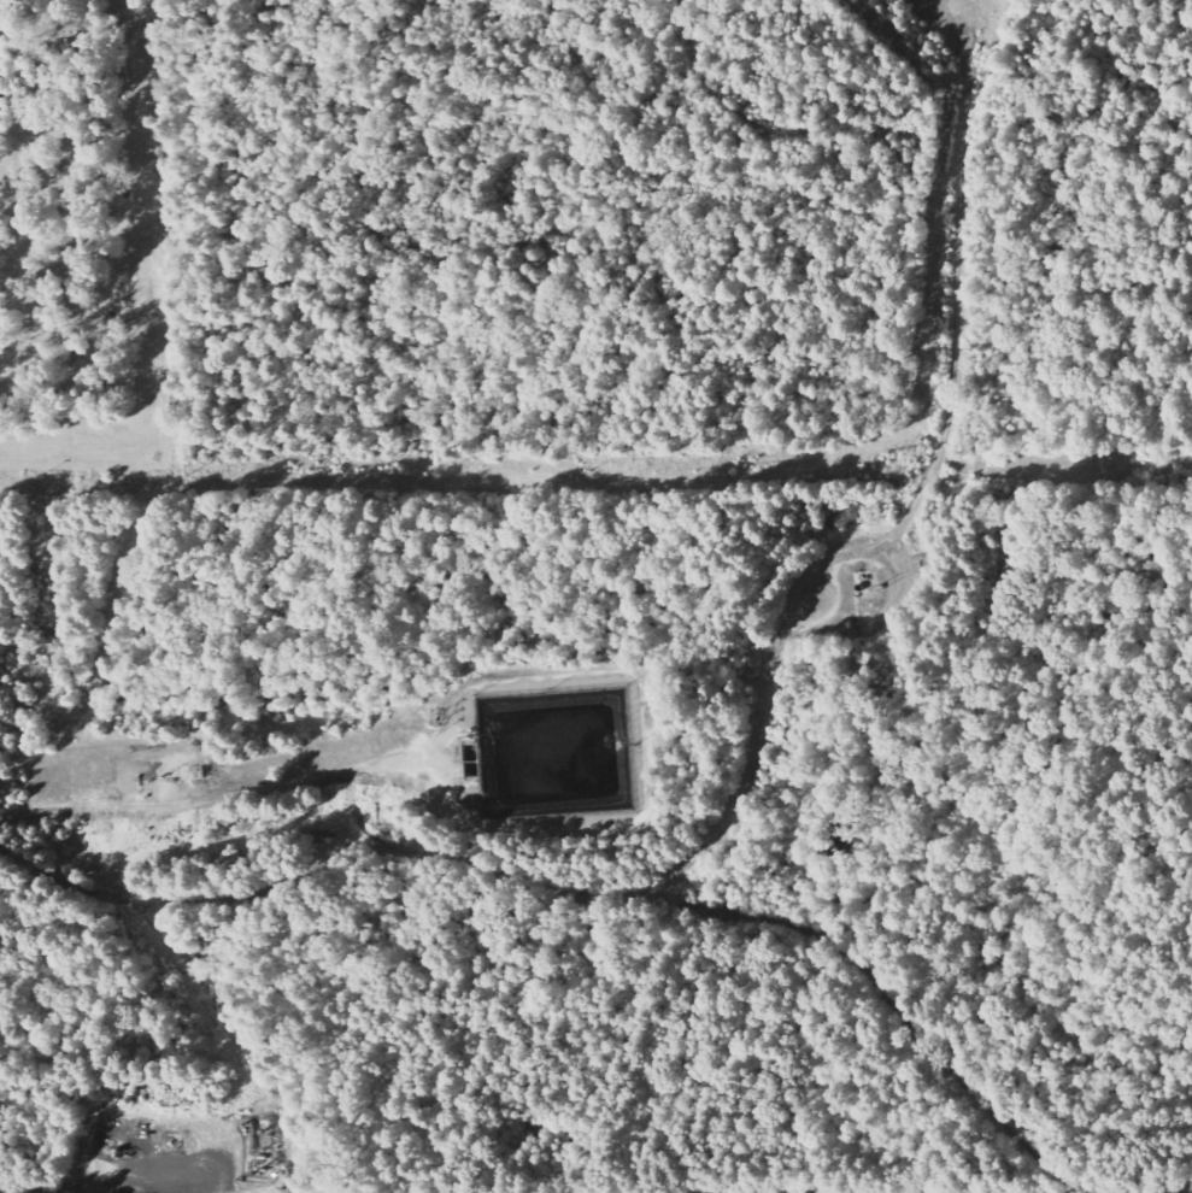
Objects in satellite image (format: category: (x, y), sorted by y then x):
road: (227, 797)
road: (230, 1173)
road: (52, 1191)

